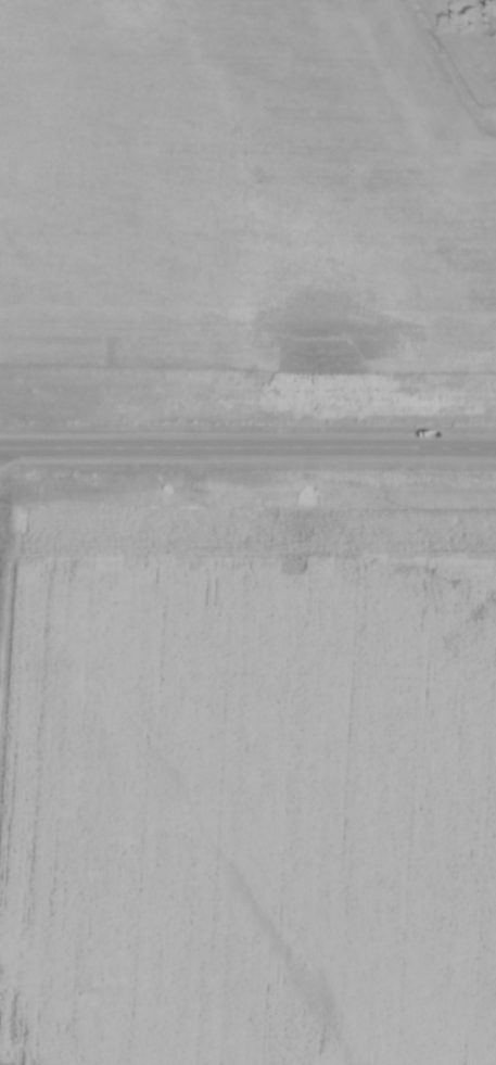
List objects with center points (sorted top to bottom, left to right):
road: (247, 449)

